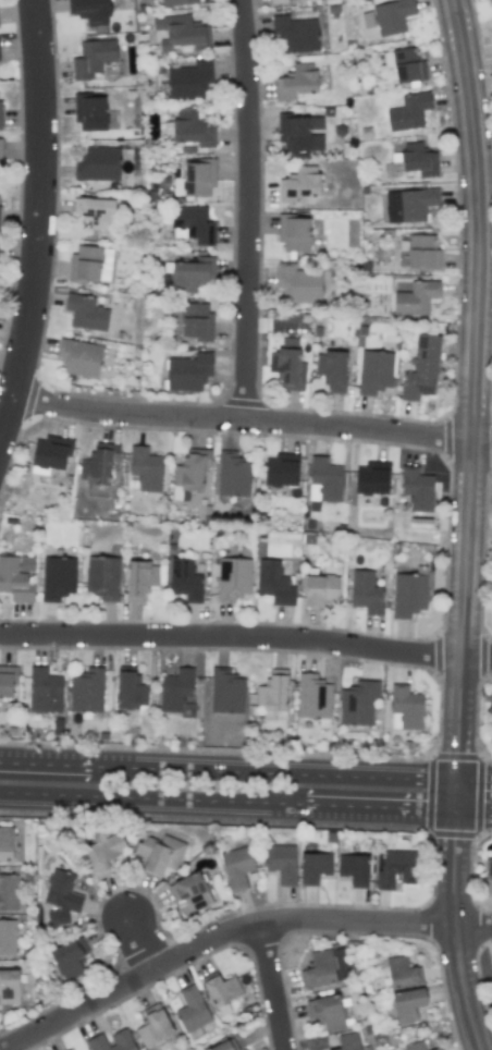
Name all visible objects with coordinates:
building: (490, 0)
building: (278, 1)
building: (177, 2)
building: (90, 11)
building: (392, 15)
building: (182, 33)
building: (295, 33)
building: (93, 58)
building: (405, 64)
building: (188, 81)
building: (297, 82)
building: (90, 112)
building: (408, 112)
building: (0, 113)
building: (193, 130)
building: (299, 134)
building: (0, 151)
building: (417, 160)
building: (98, 164)
building: (195, 179)
building: (298, 184)
building: (409, 205)
building: (0, 209)
road: (242, 210)
building: (95, 212)
building: (193, 224)
building: (294, 233)
road: (44, 234)
building: (419, 252)
building: (85, 264)
building: (190, 274)
building: (299, 283)
building: (416, 297)
building: (86, 313)
building: (196, 321)
building: (79, 357)
building: (286, 365)
building: (421, 369)
building: (332, 370)
building: (188, 371)
building: (374, 371)
road: (472, 389)
road: (254, 420)
building: (50, 454)
building: (96, 467)
building: (146, 468)
building: (282, 471)
building: (188, 474)
building: (233, 475)
building: (372, 478)
building: (323, 479)
building: (417, 488)
building: (58, 577)
building: (102, 577)
building: (16, 578)
building: (233, 578)
building: (140, 579)
building: (185, 579)
building: (274, 583)
building: (321, 590)
building: (366, 591)
building: (408, 595)
road: (246, 638)
building: (7, 682)
building: (46, 689)
building: (87, 691)
building: (131, 691)
building: (176, 692)
building: (226, 692)
building: (272, 697)
building: (312, 697)
building: (358, 703)
building: (407, 707)
road: (245, 772)
road: (454, 795)
road: (245, 802)
building: (5, 843)
building: (159, 853)
building: (103, 854)
building: (282, 863)
building: (236, 867)
building: (315, 868)
building: (397, 868)
building: (354, 869)
building: (488, 870)
building: (8, 892)
building: (61, 896)
road: (237, 930)
road: (454, 931)
building: (8, 938)
road: (144, 944)
building: (69, 959)
building: (325, 968)
building: (403, 973)
building: (9, 987)
road: (272, 988)
building: (222, 989)
building: (407, 1004)
building: (192, 1009)
building: (325, 1011)
building: (153, 1026)
building: (121, 1037)
building: (348, 1041)
building: (222, 1046)
building: (415, 1046)
building: (438, 1049)

